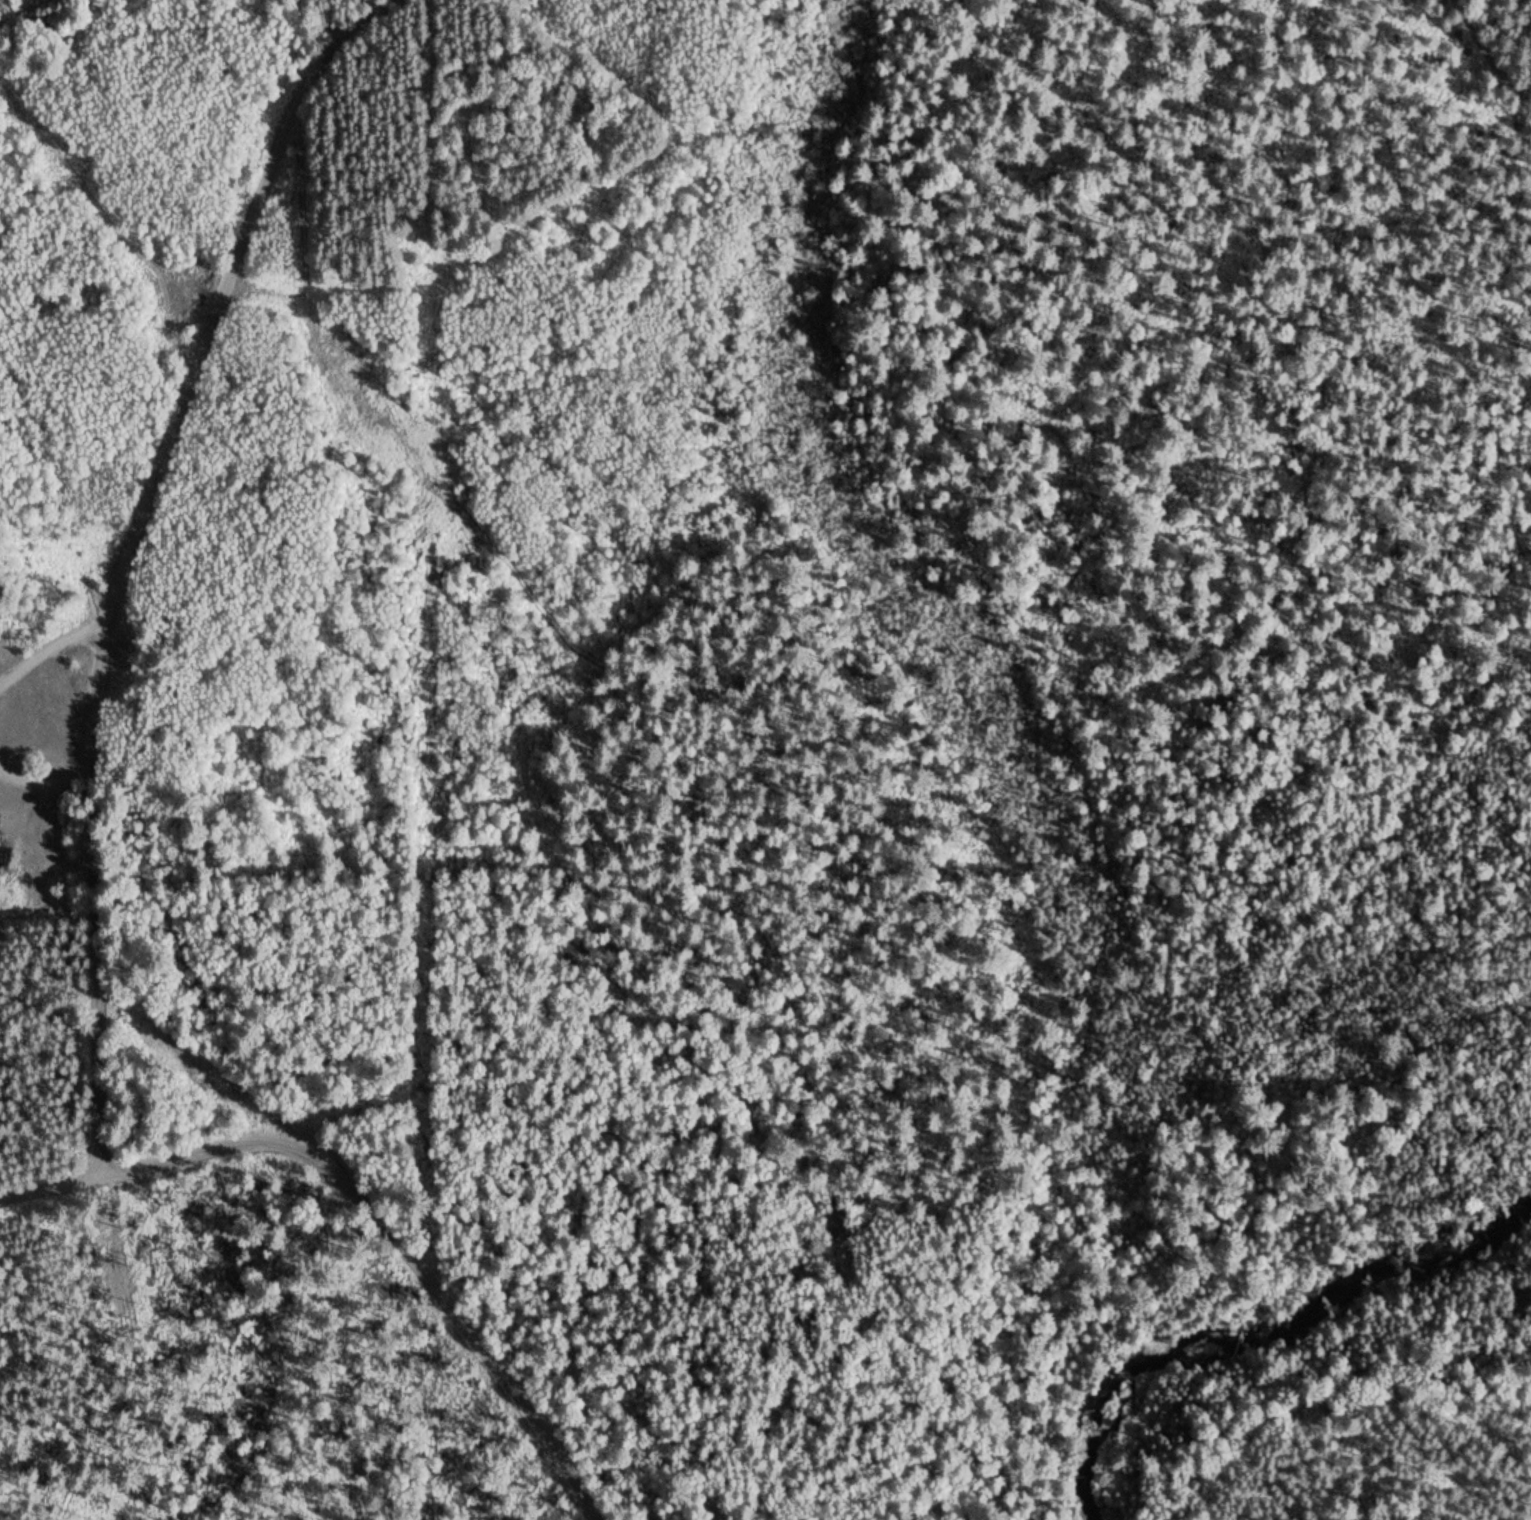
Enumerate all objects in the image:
road: (103, 213)
road: (132, 554)
road: (51, 647)
road: (44, 782)
road: (55, 1185)
road: (401, 1248)

